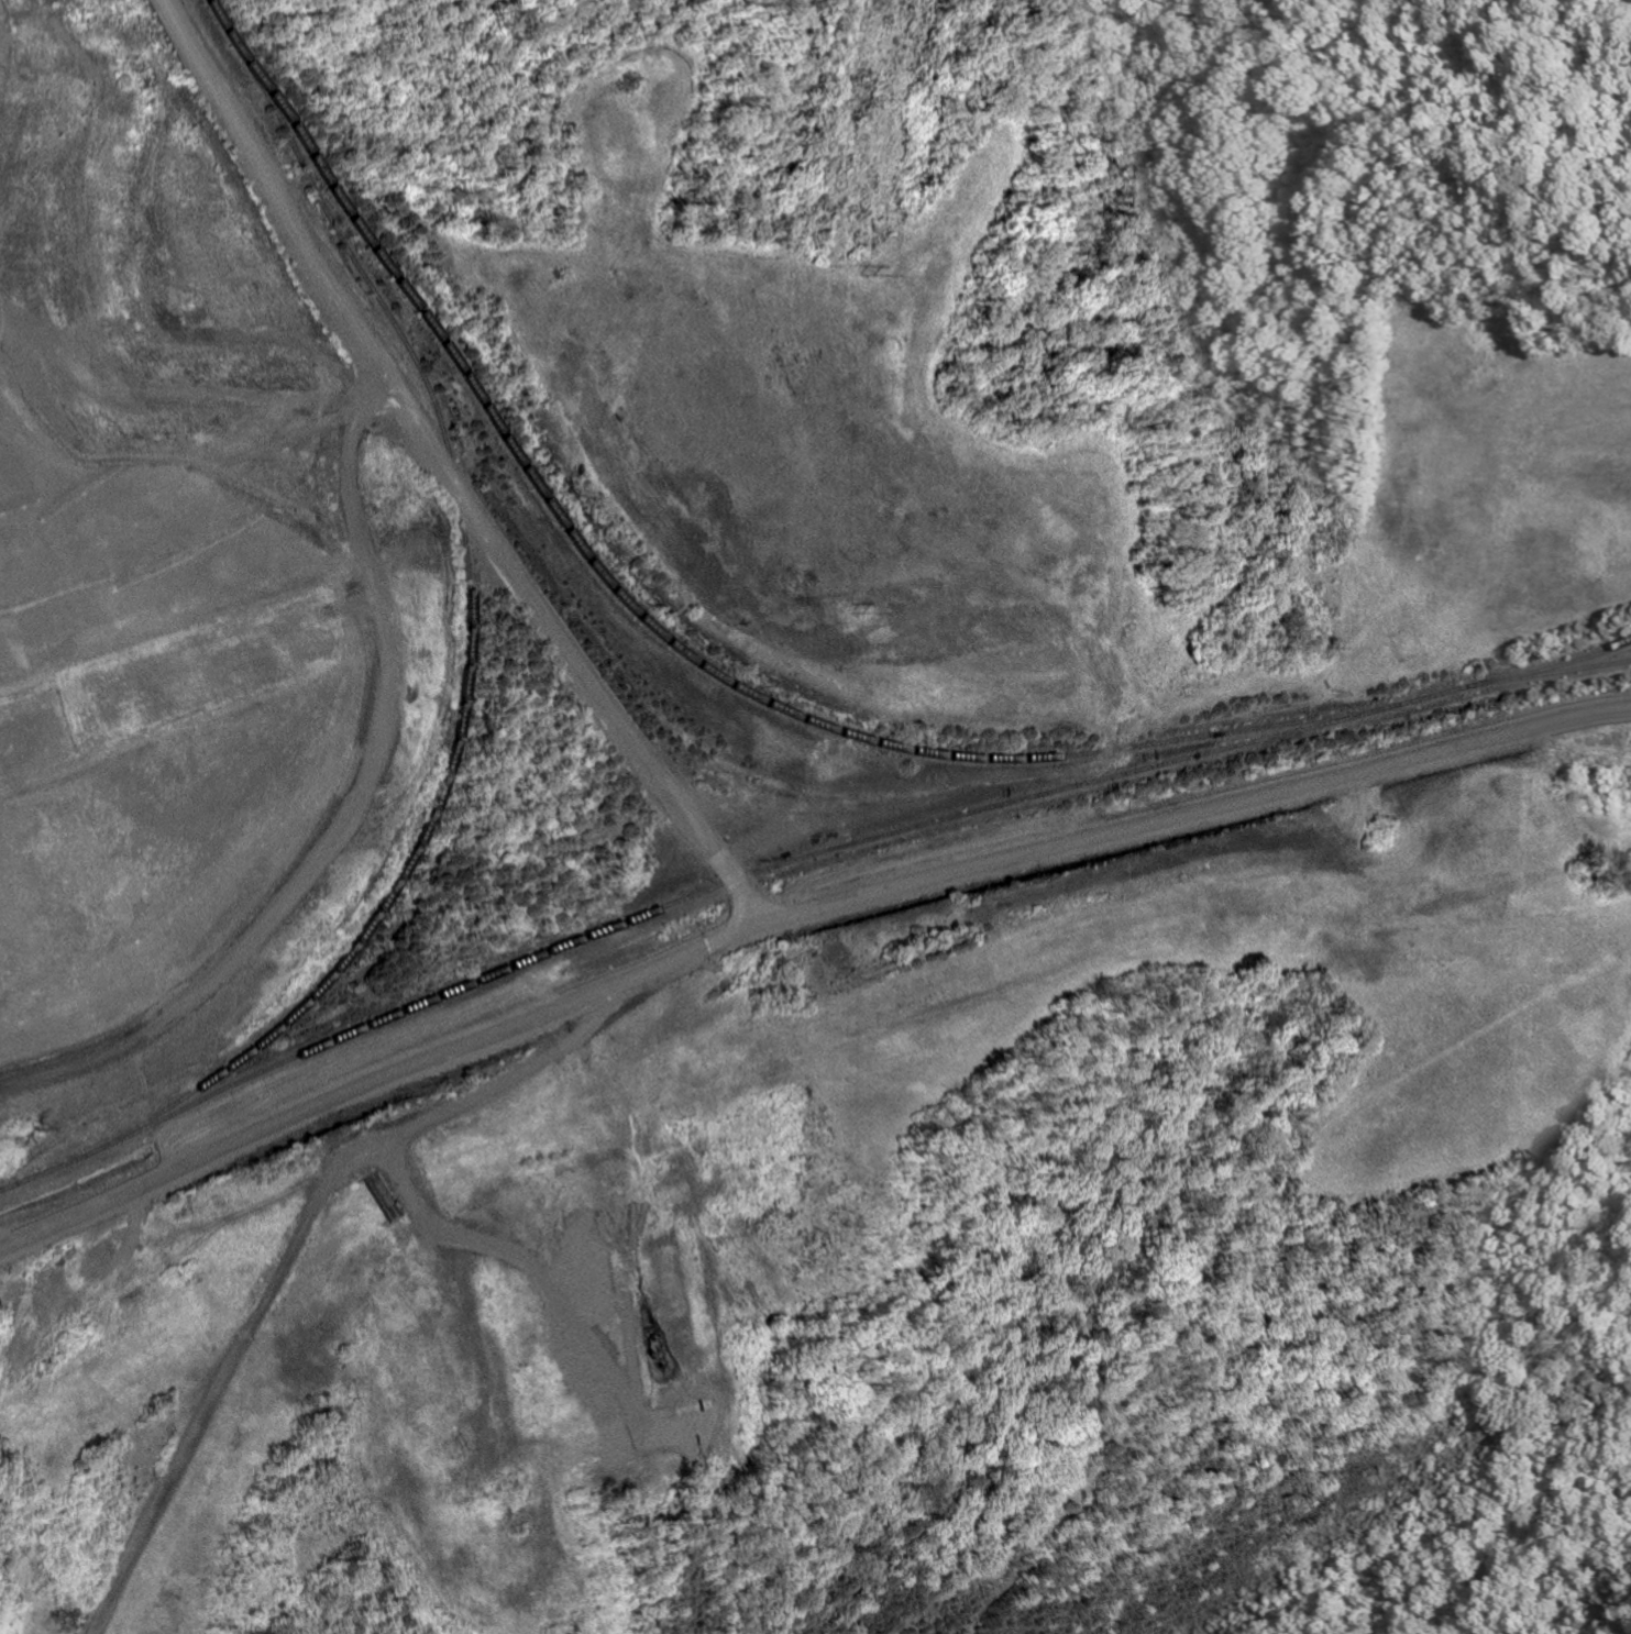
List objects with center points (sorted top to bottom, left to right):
power tower: (867, 274)
road: (454, 465)
power tower: (856, 611)
railway: (657, 614)
railway: (1566, 661)
railway: (474, 717)
road: (1106, 832)
railway: (849, 843)
power tower: (842, 980)
road: (296, 1117)
power tower: (831, 1222)
road: (285, 1259)
power tower: (453, 1442)

